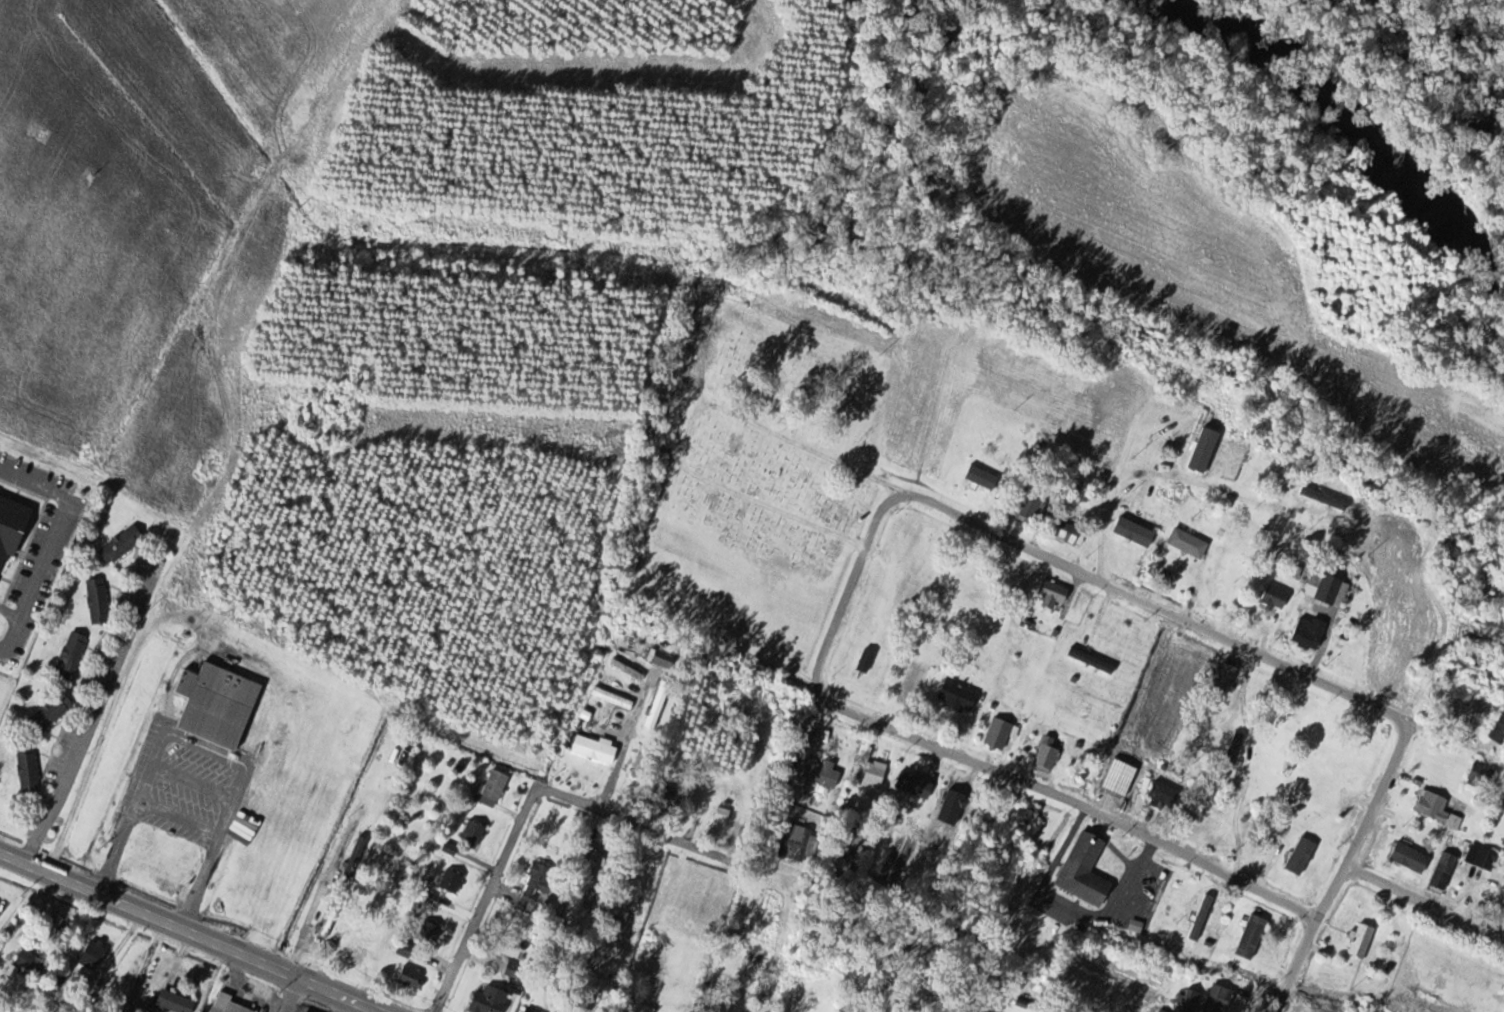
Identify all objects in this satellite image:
river: (1291, 123)
building: (1206, 454)
building: (982, 478)
park: (770, 485)
road: (1212, 489)
building: (1325, 498)
building: (1029, 507)
building: (12, 523)
road: (1106, 526)
building: (1068, 532)
building: (1136, 532)
road: (52, 543)
building: (1188, 543)
building: (122, 545)
building: (1231, 582)
building: (1328, 589)
building: (1053, 593)
building: (1275, 598)
building: (98, 601)
road: (1156, 607)
road: (10, 612)
building: (1308, 633)
building: (71, 655)
building: (665, 659)
building: (866, 660)
building: (1092, 660)
building: (627, 669)
building: (1228, 675)
building: (958, 695)
building: (611, 697)
building: (659, 704)
building: (51, 713)
road: (94, 713)
building: (218, 714)
building: (1372, 729)
building: (1498, 732)
building: (999, 733)
road: (625, 748)
building: (594, 749)
building: (258, 756)
storage tank: (258, 756)
building: (1047, 756)
road: (968, 758)
building: (28, 769)
building: (821, 772)
building: (1481, 775)
building: (873, 776)
building: (1121, 779)
building: (915, 785)
building: (492, 789)
building: (671, 794)
building: (1164, 794)
building: (952, 799)
road: (252, 802)
road: (529, 803)
building: (1437, 809)
building: (1027, 816)
building: (1205, 820)
building: (473, 834)
building: (799, 843)
building: (357, 856)
building: (1301, 856)
building: (1410, 858)
building: (1487, 859)
road: (327, 861)
road: (1343, 867)
building: (1084, 870)
building: (1444, 871)
building: (452, 882)
building: (539, 882)
road: (98, 893)
road: (1424, 900)
building: (1203, 908)
building: (429, 933)
building: (1363, 941)
building: (384, 951)
building: (409, 951)
building: (93, 956)
road: (246, 956)
building: (32, 963)
building: (511, 971)
building: (412, 978)
road: (290, 994)
road: (340, 994)
building: (1219, 999)
building: (490, 1000)
building: (1188, 1000)
building: (173, 1003)
building: (228, 1005)
building: (643, 1008)
building: (531, 1010)

